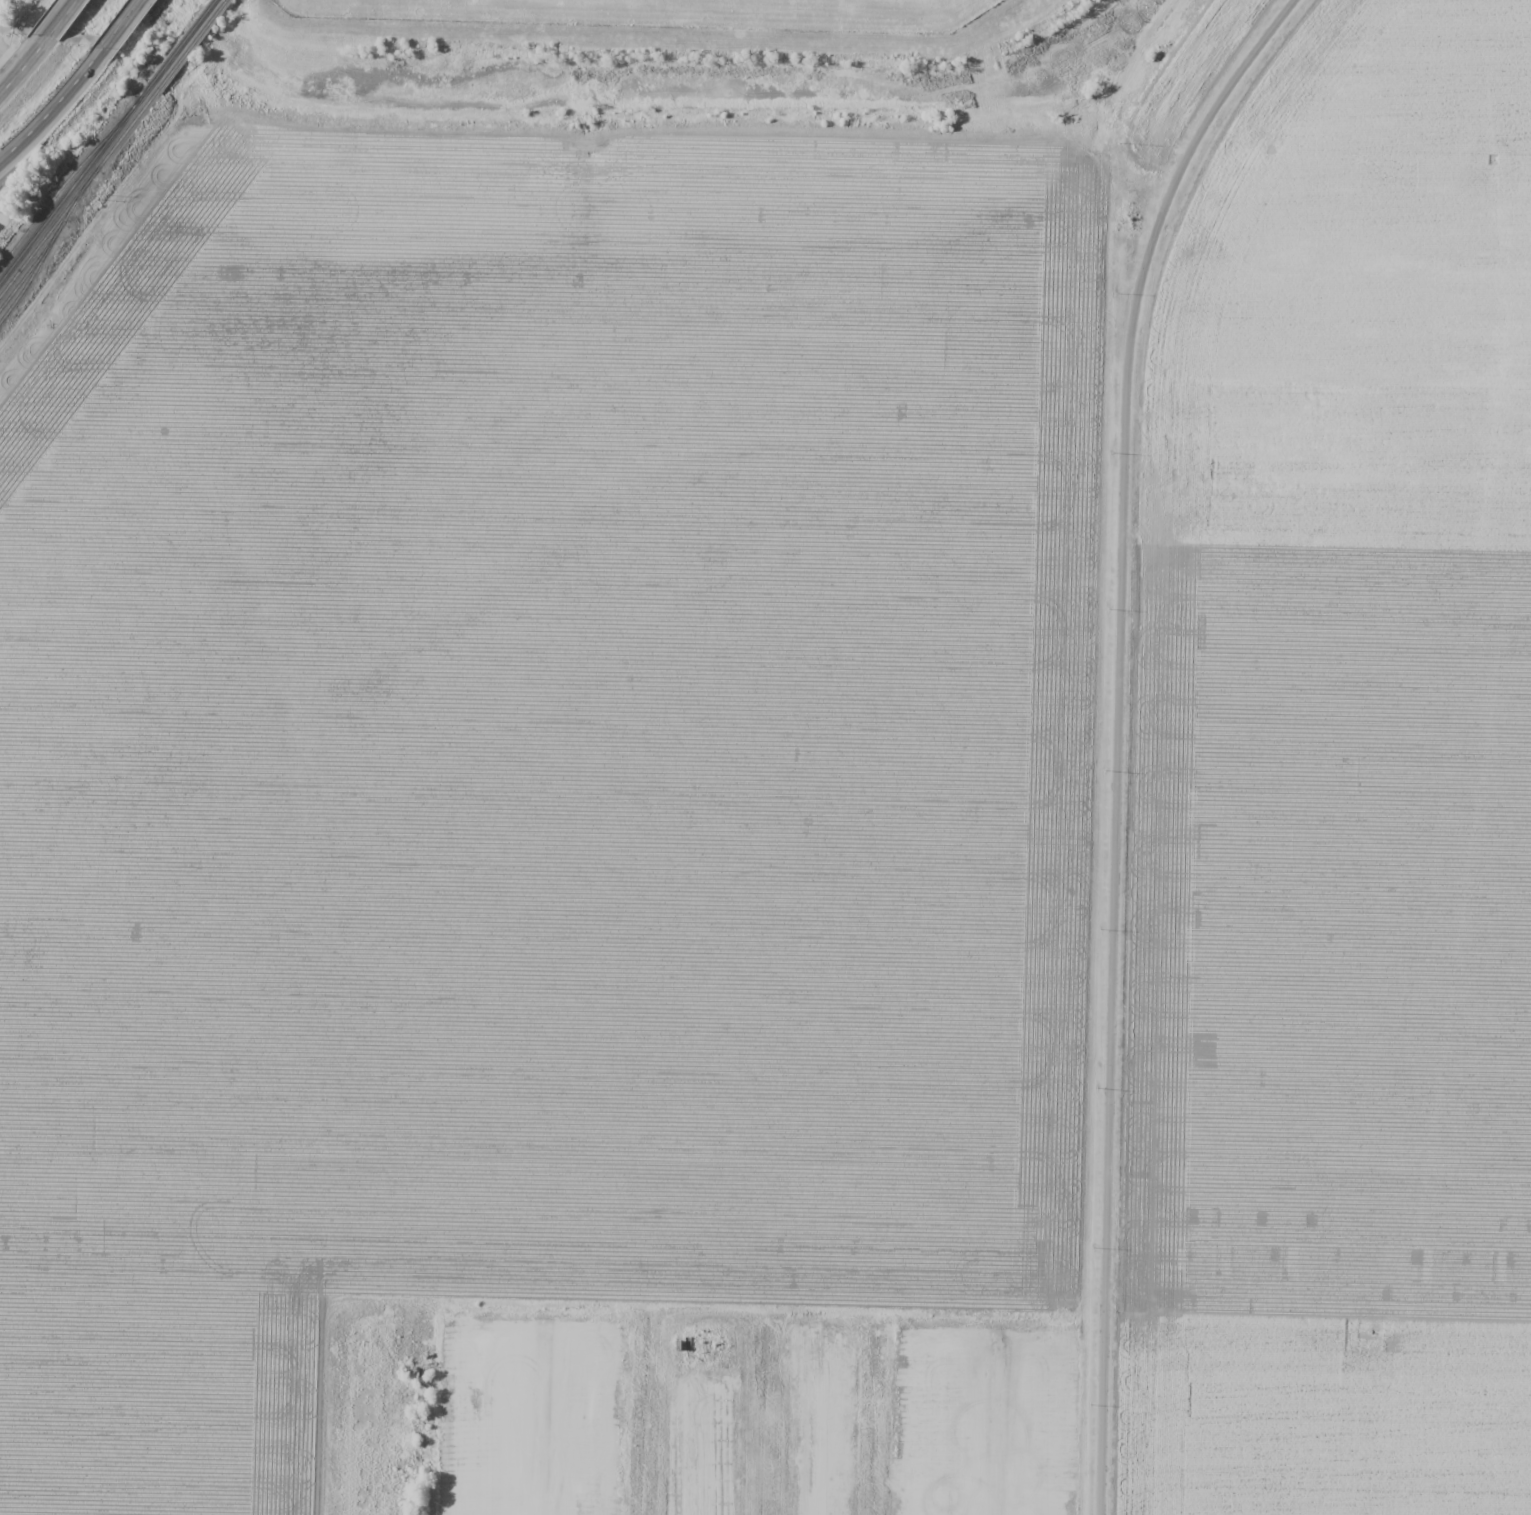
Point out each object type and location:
road: (42, 47)
road: (109, 51)
road: (39, 137)
railway: (107, 139)
railway: (112, 147)
railway: (46, 245)
railway: (30, 278)
road: (1121, 733)
crop: (532, 756)

